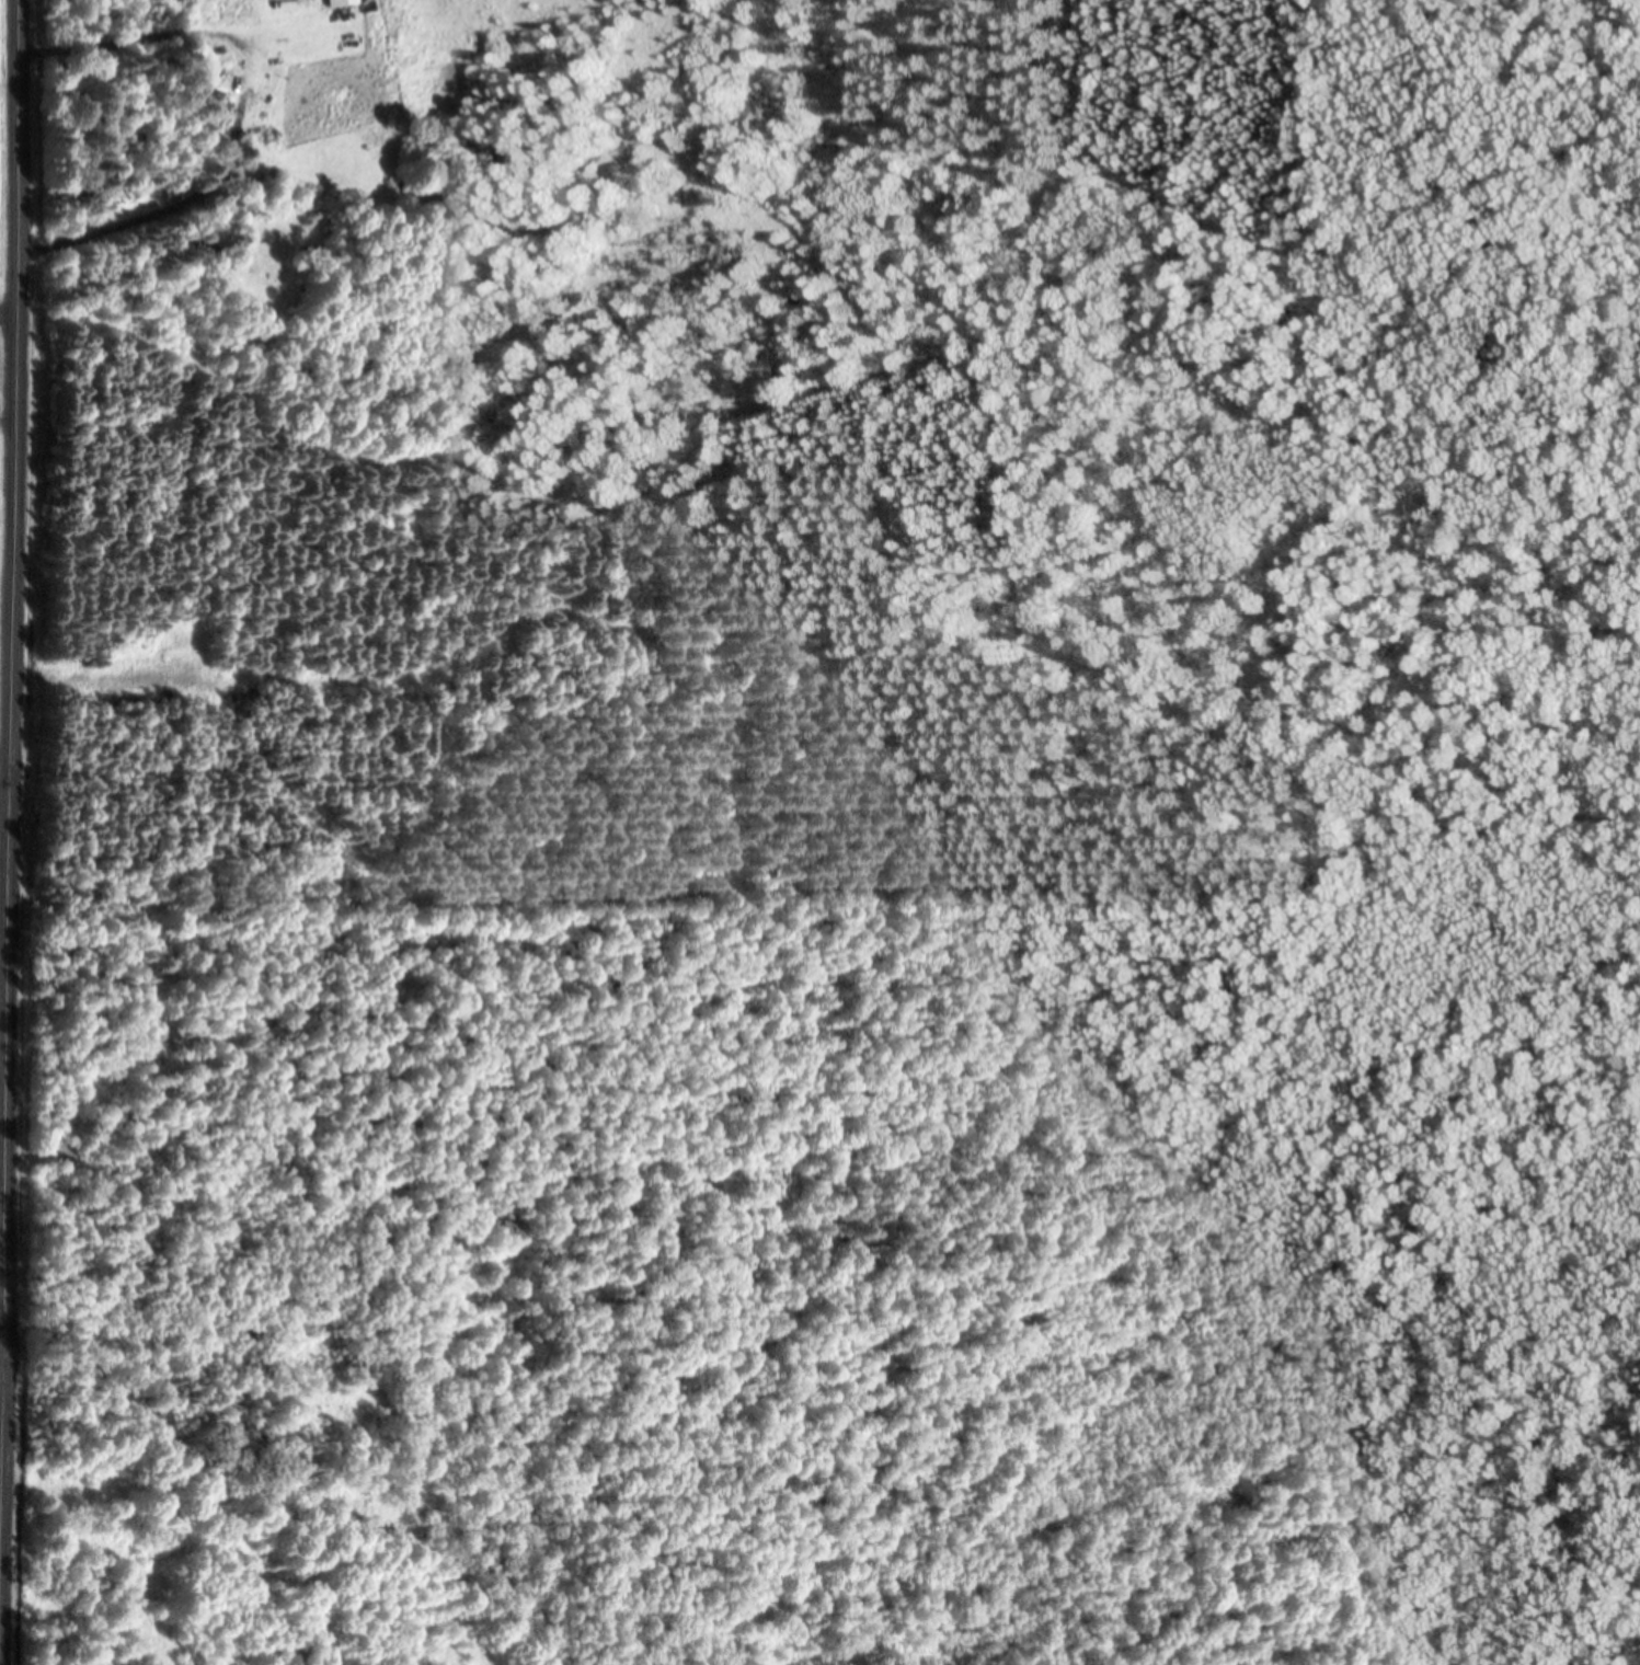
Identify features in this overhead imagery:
building: (347, 3)
road: (11, 832)
building: (512, 1232)

